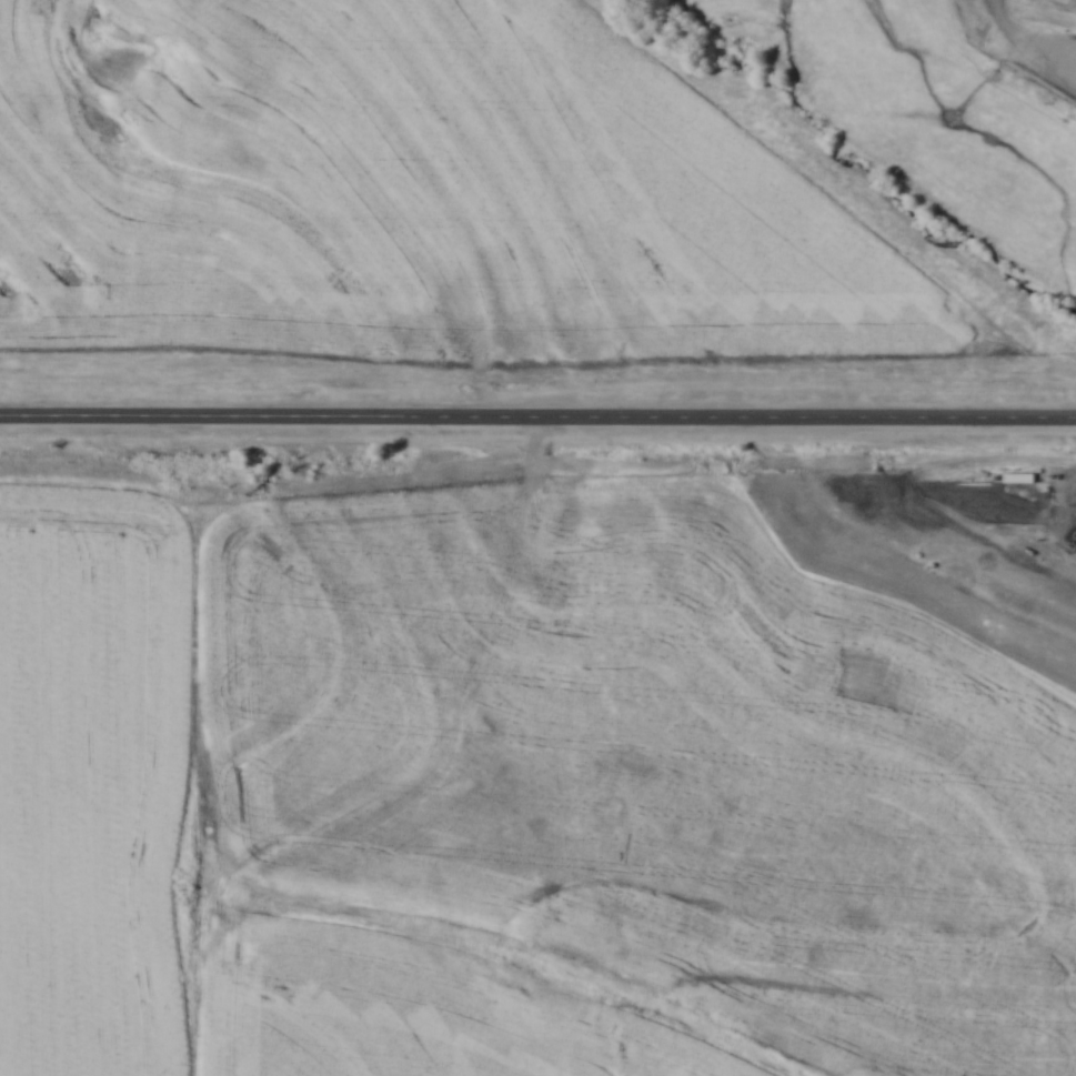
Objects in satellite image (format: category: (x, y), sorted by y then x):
road: (537, 412)

